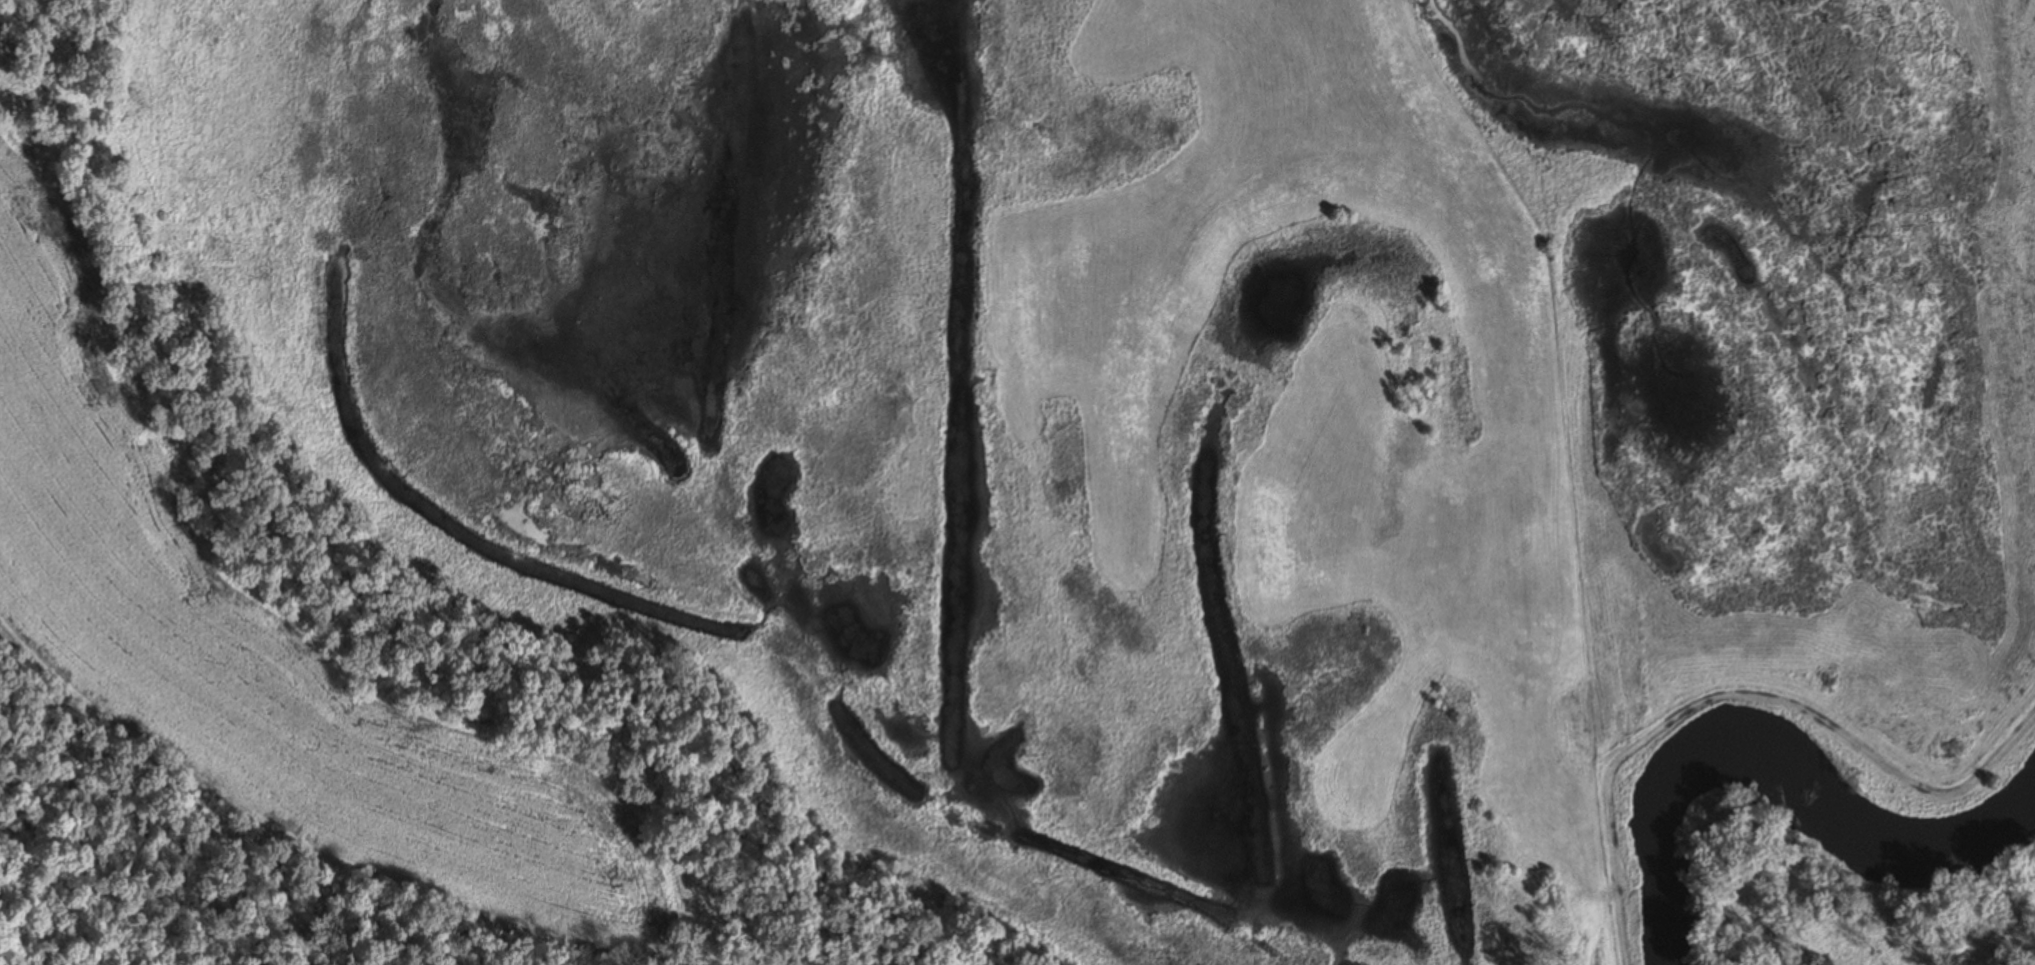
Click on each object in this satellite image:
river: (1779, 758)

